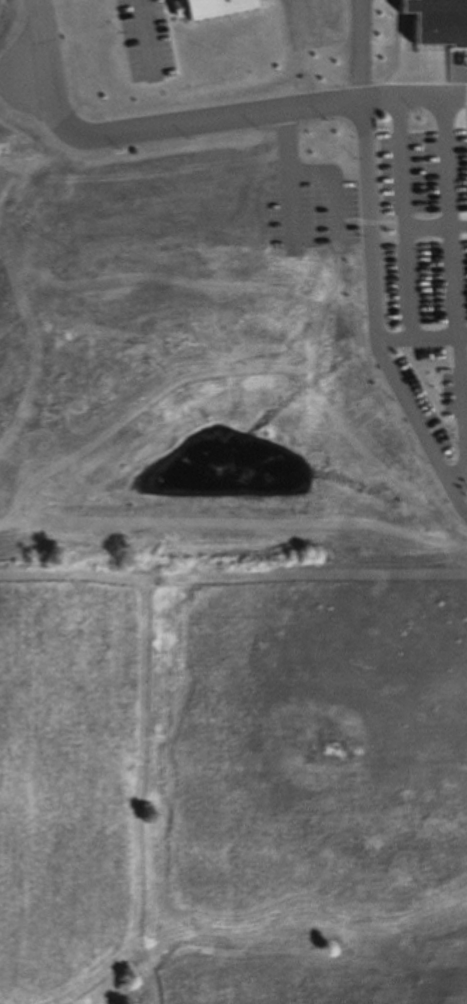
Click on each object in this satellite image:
road: (39, 35)
road: (145, 35)
road: (359, 49)
road: (413, 94)
road: (181, 122)
road: (288, 177)
road: (332, 191)
road: (405, 216)
road: (429, 227)
road: (456, 296)
road: (369, 318)
road: (415, 337)

